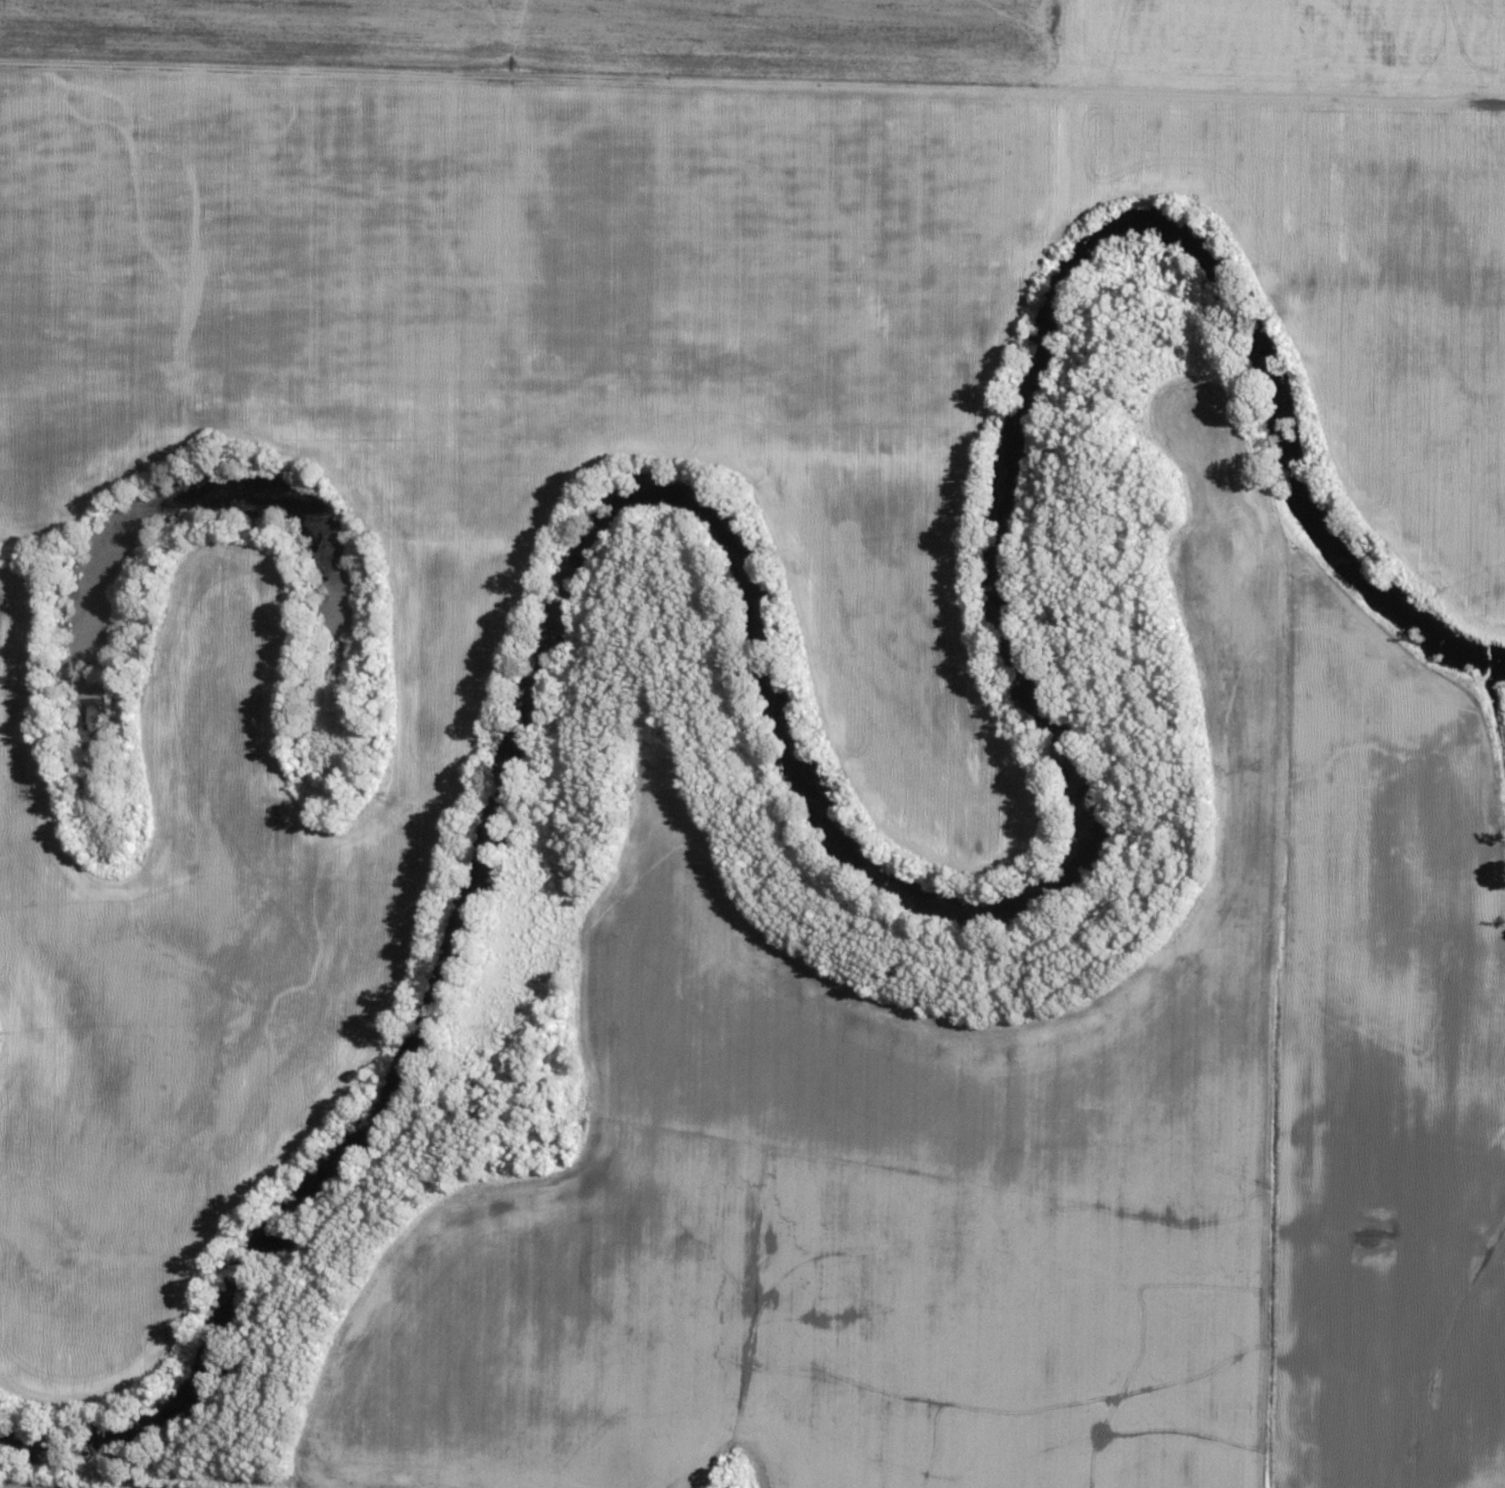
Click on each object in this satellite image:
road: (752, 77)
road: (838, 470)

